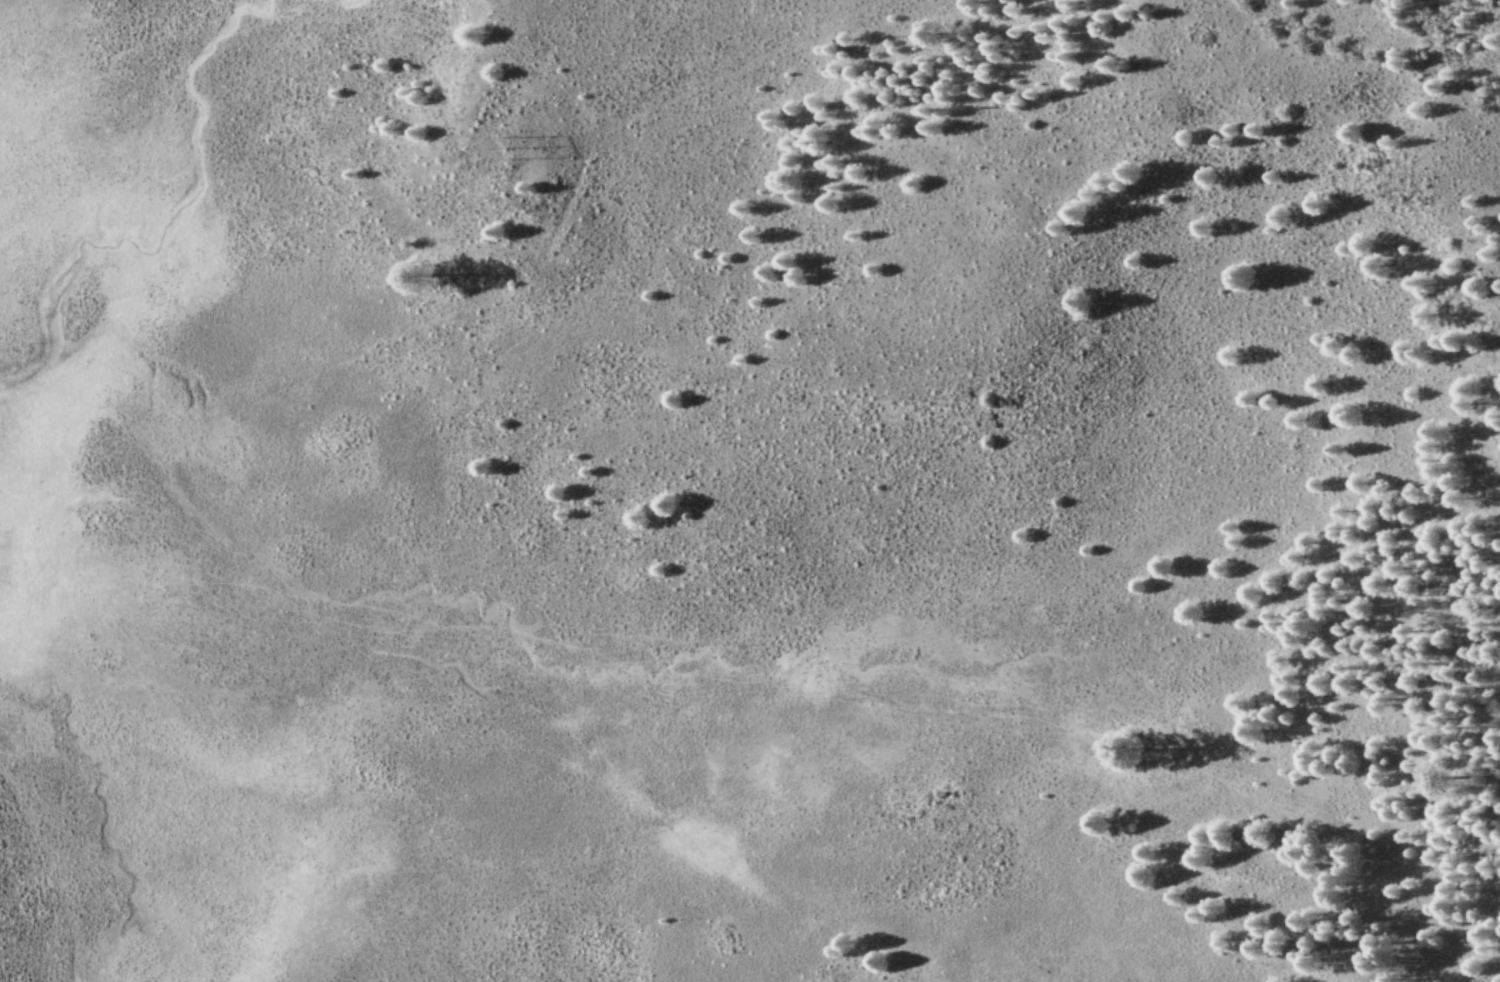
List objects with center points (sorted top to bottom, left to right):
power tower: (504, 150)

